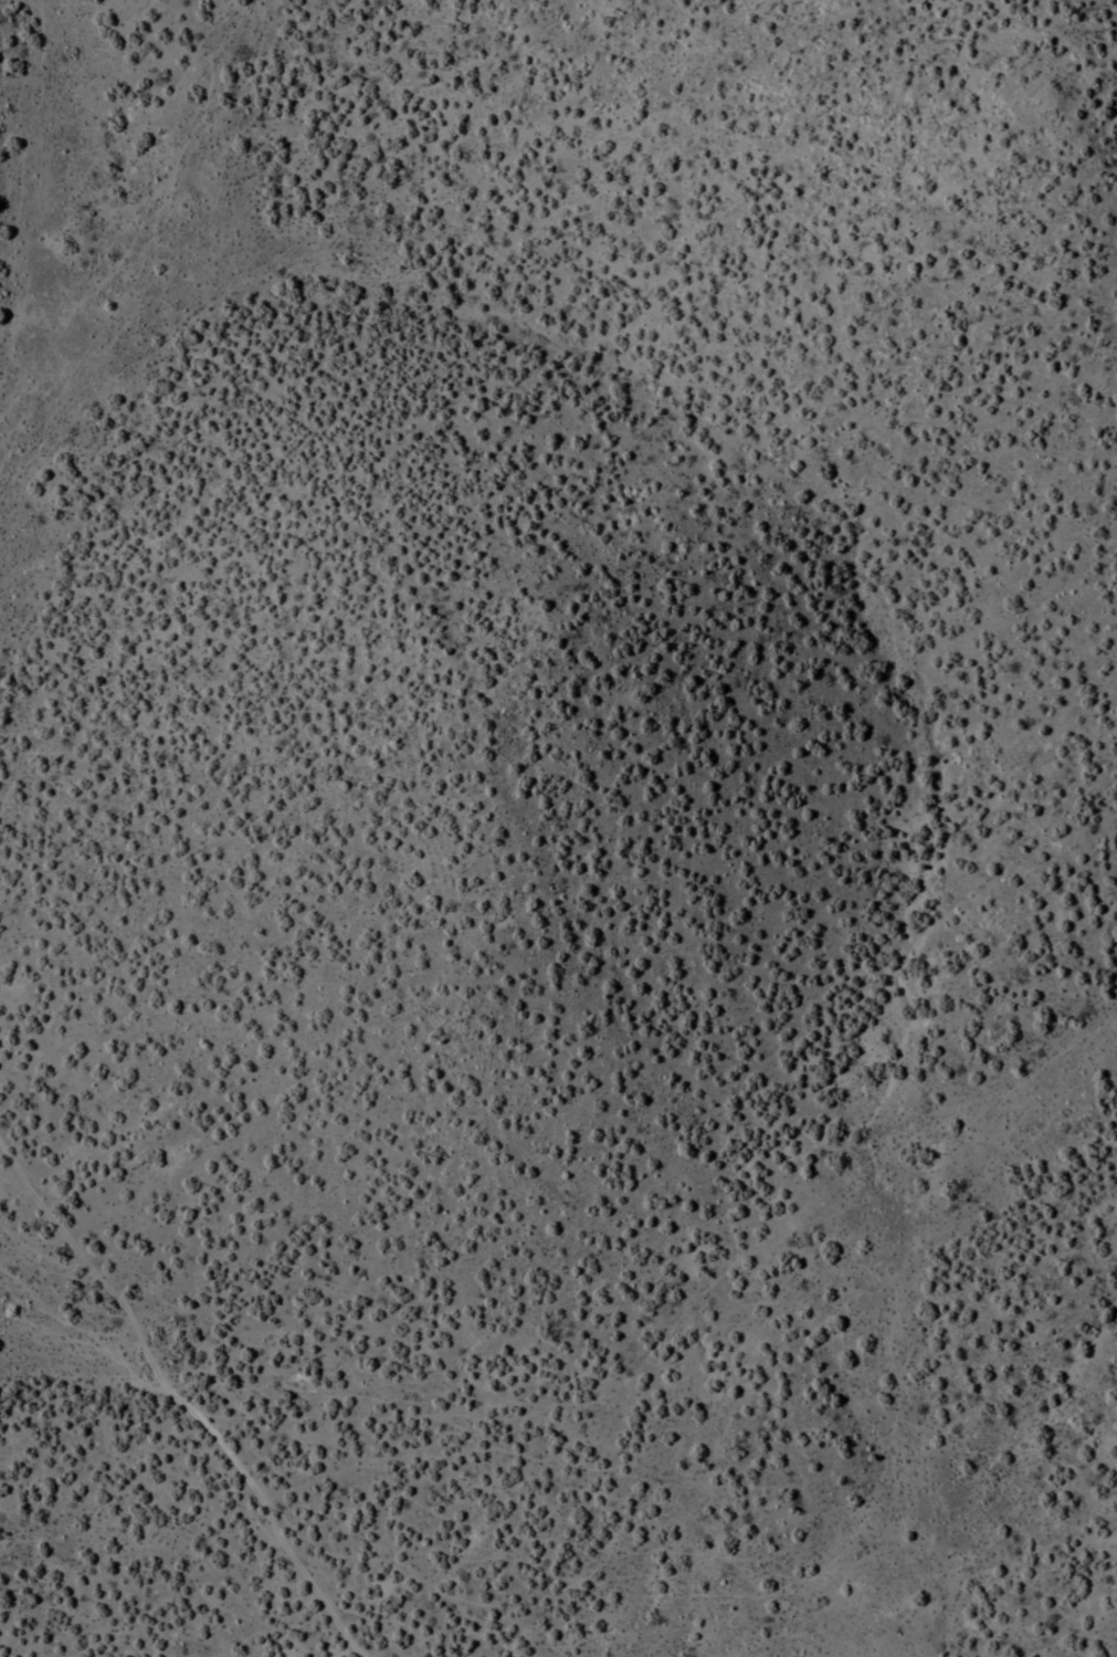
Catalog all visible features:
road: (137, 1471)

